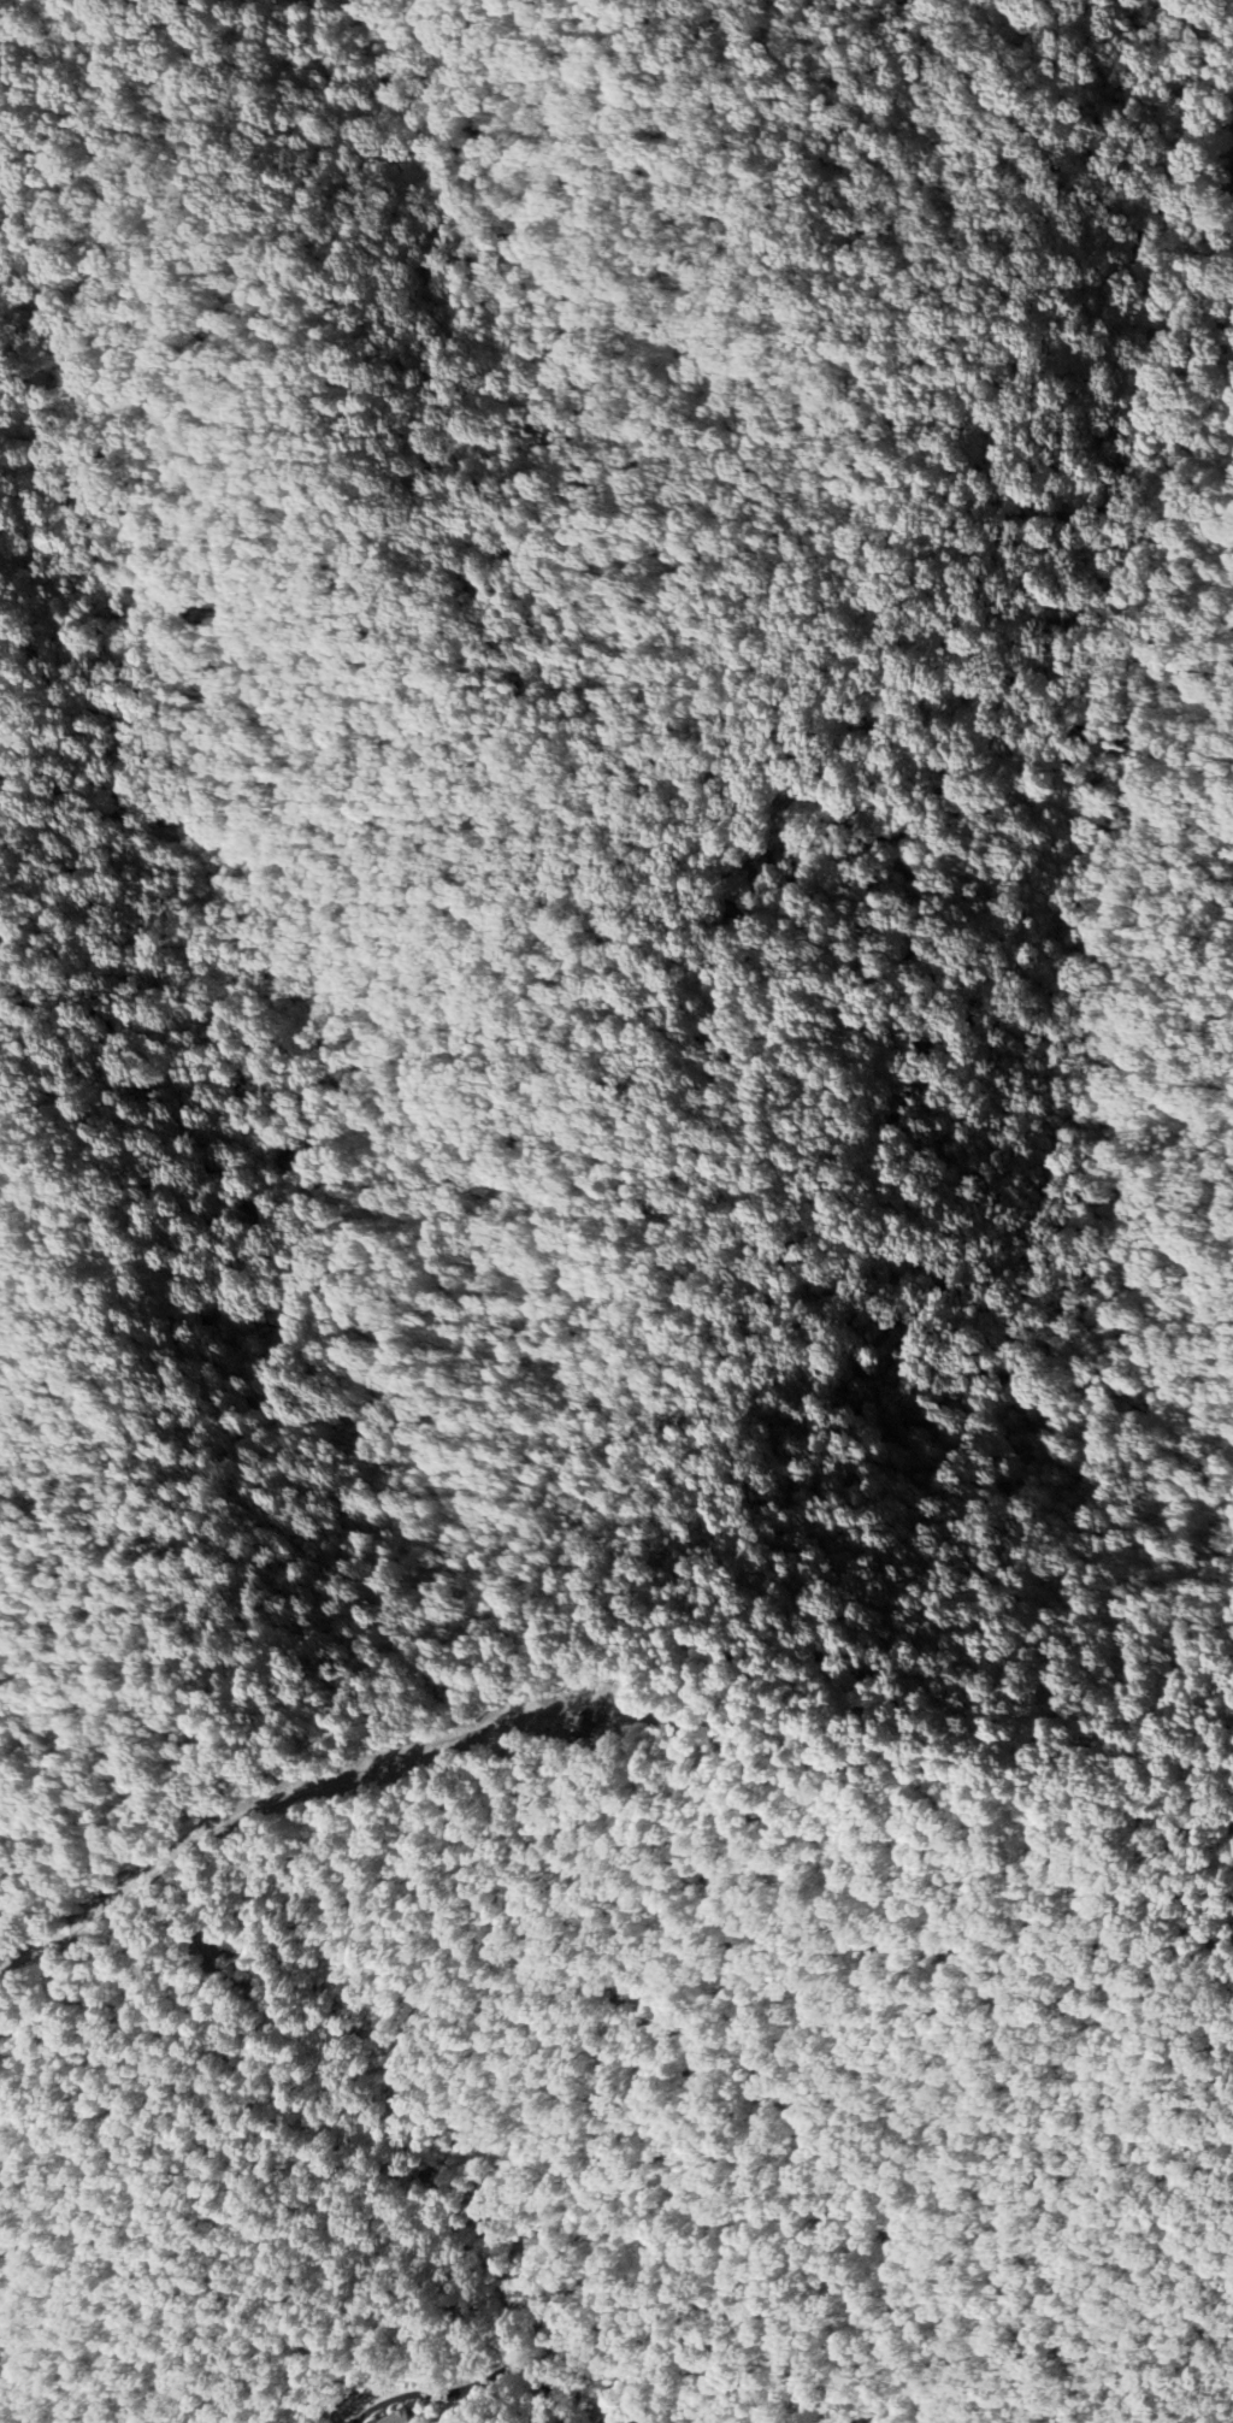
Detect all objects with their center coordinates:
road: (476, 2383)
road: (458, 2407)
building: (400, 2417)

